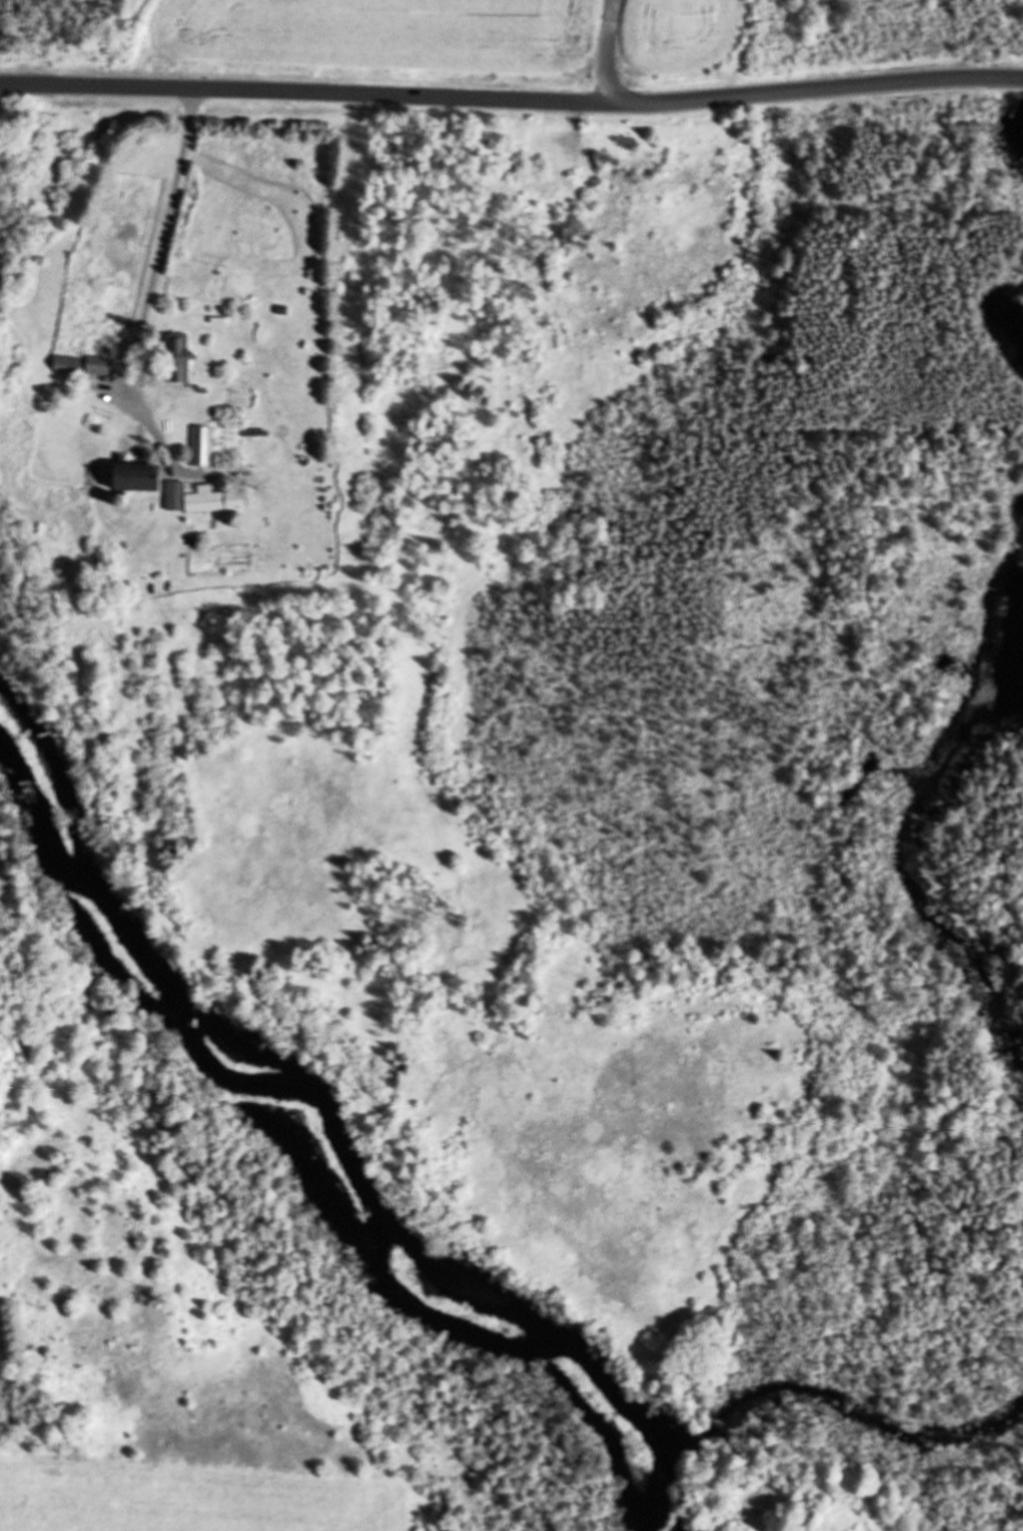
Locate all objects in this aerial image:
quarry: (506, 40)
road: (511, 98)
building: (175, 356)
building: (65, 362)
building: (95, 364)
building: (201, 445)
building: (131, 475)
building: (191, 498)
river: (342, 1132)

